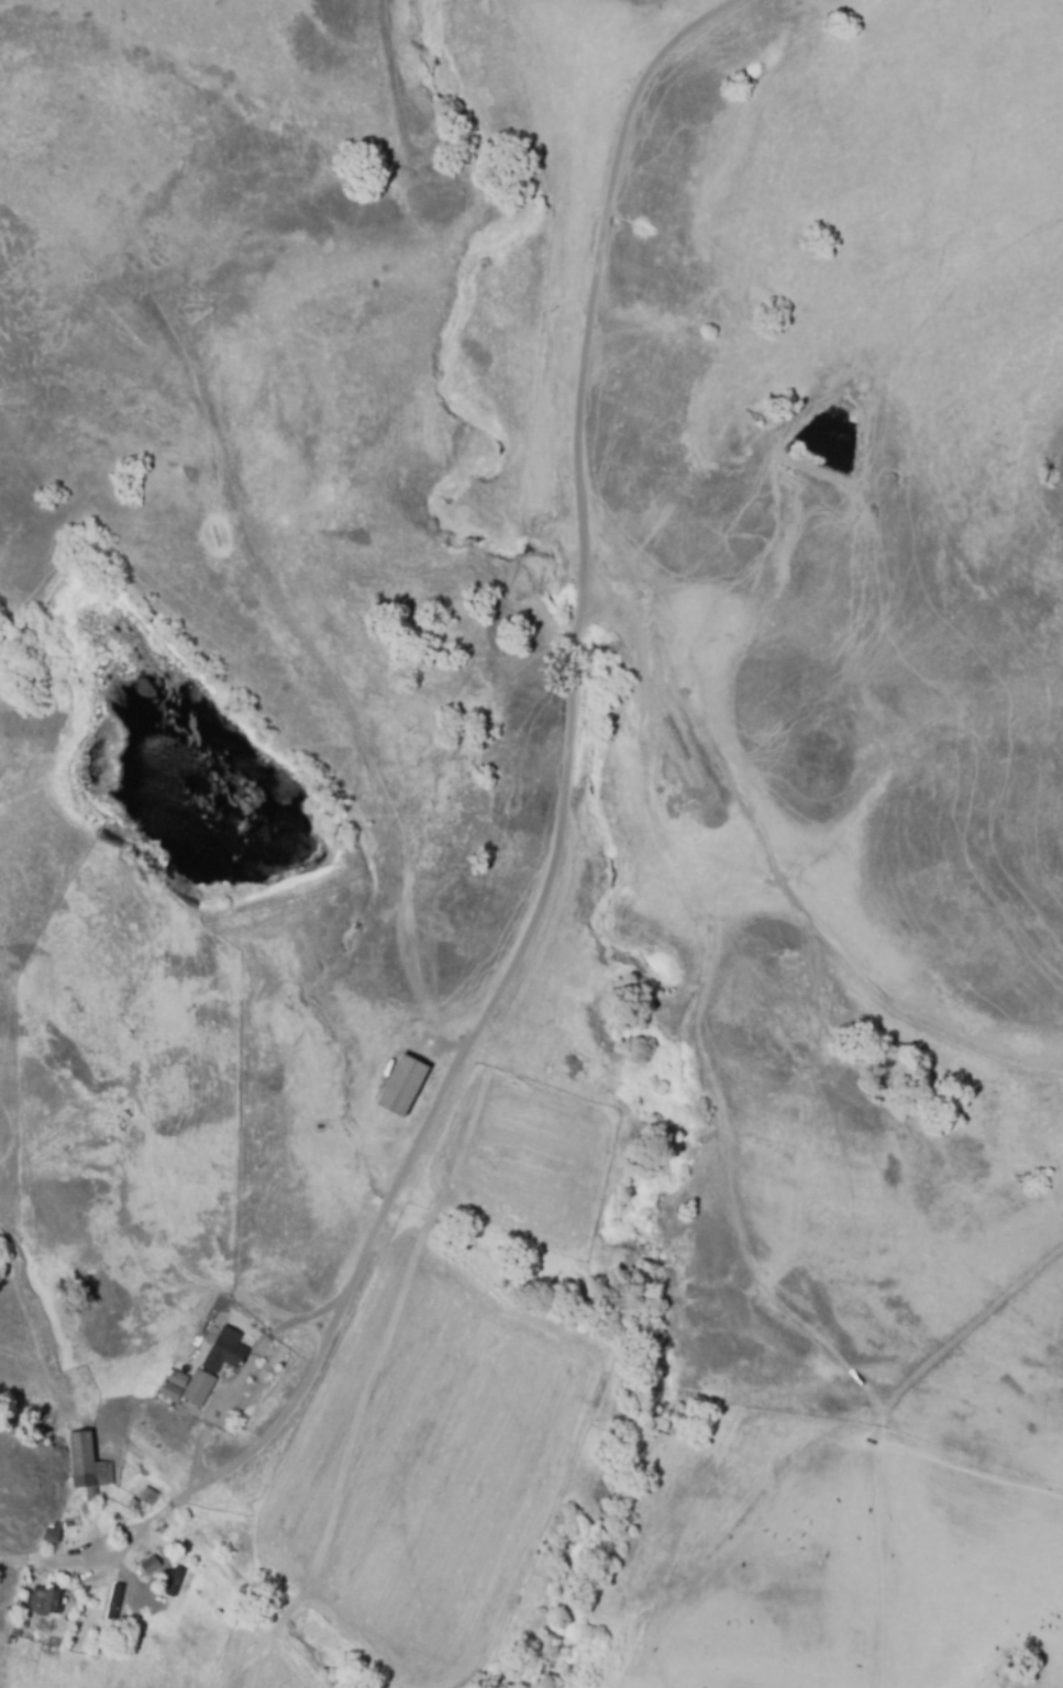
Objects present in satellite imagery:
road: (355, 728)
road: (565, 817)
road: (796, 843)
building: (403, 1085)
building: (215, 1365)
building: (178, 1379)
building: (170, 1393)
building: (88, 1465)
building: (143, 1498)
building: (184, 1539)
building: (156, 1561)
building: (46, 1601)
building: (20, 1622)

